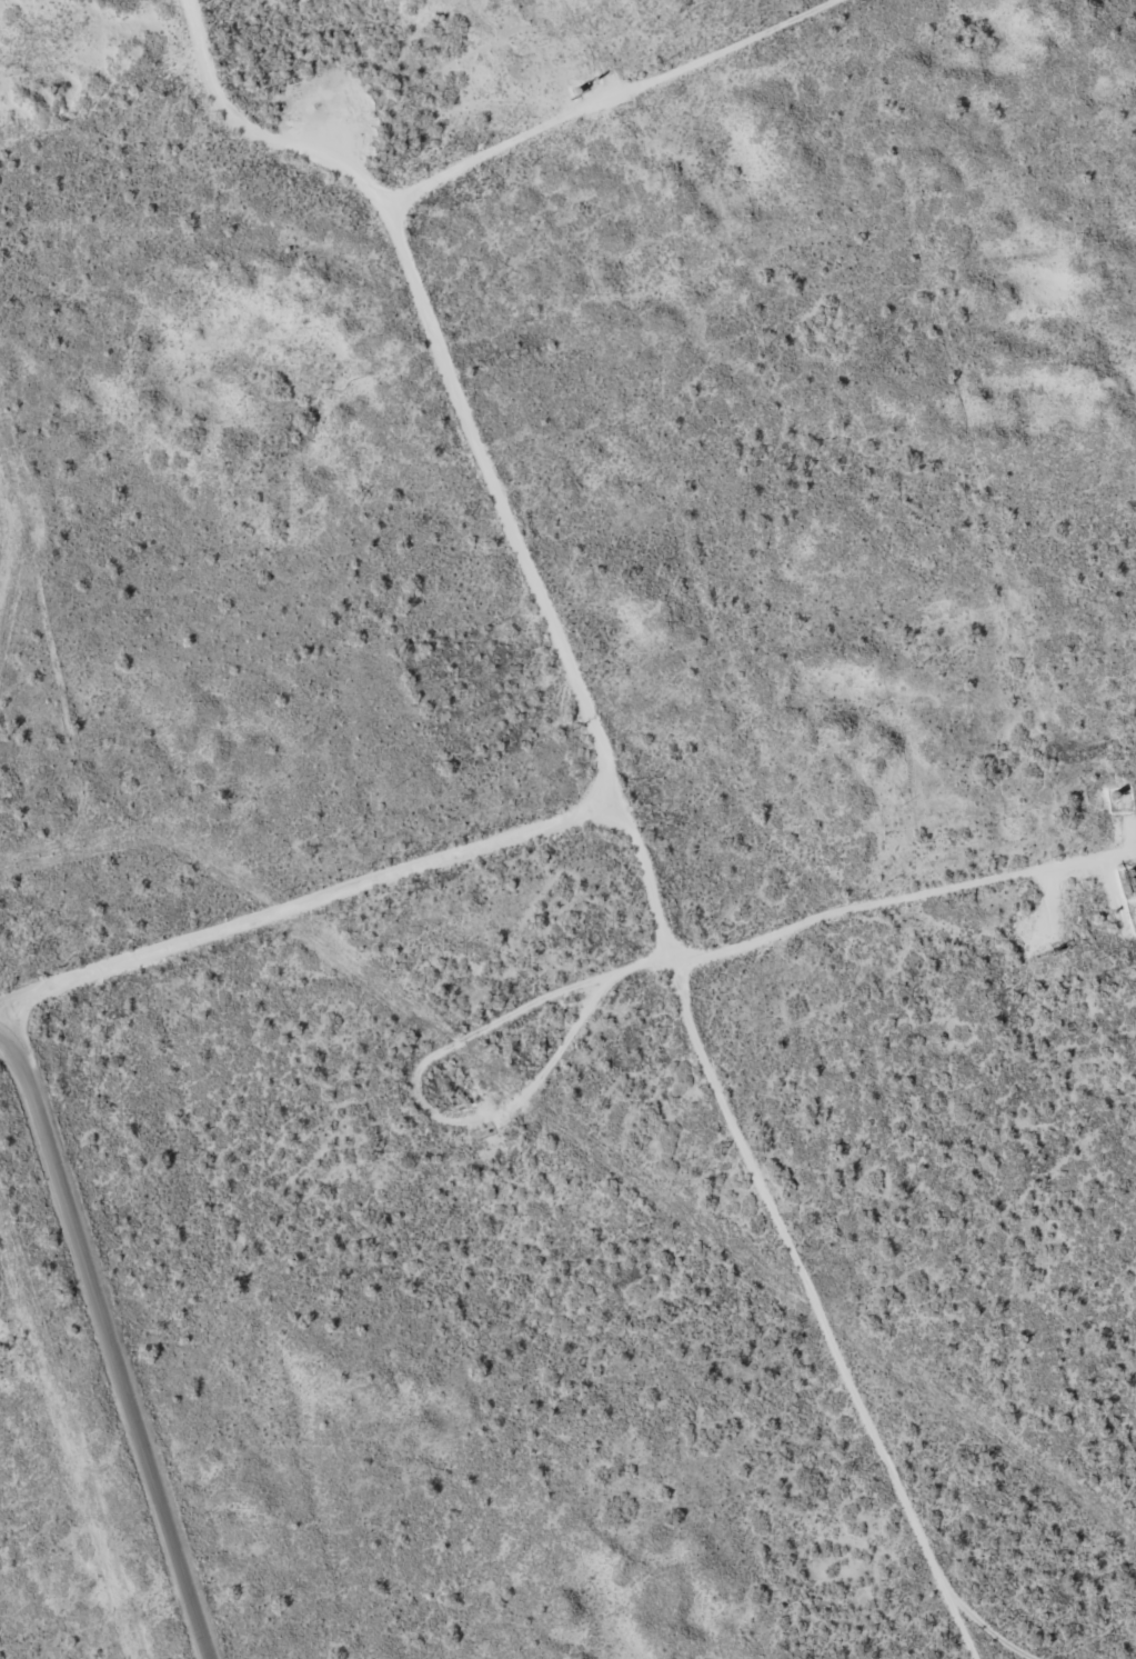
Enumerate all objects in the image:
road: (257, 167)
road: (395, 280)
road: (612, 835)
road: (3, 1021)
road: (826, 1321)
road: (93, 1342)

